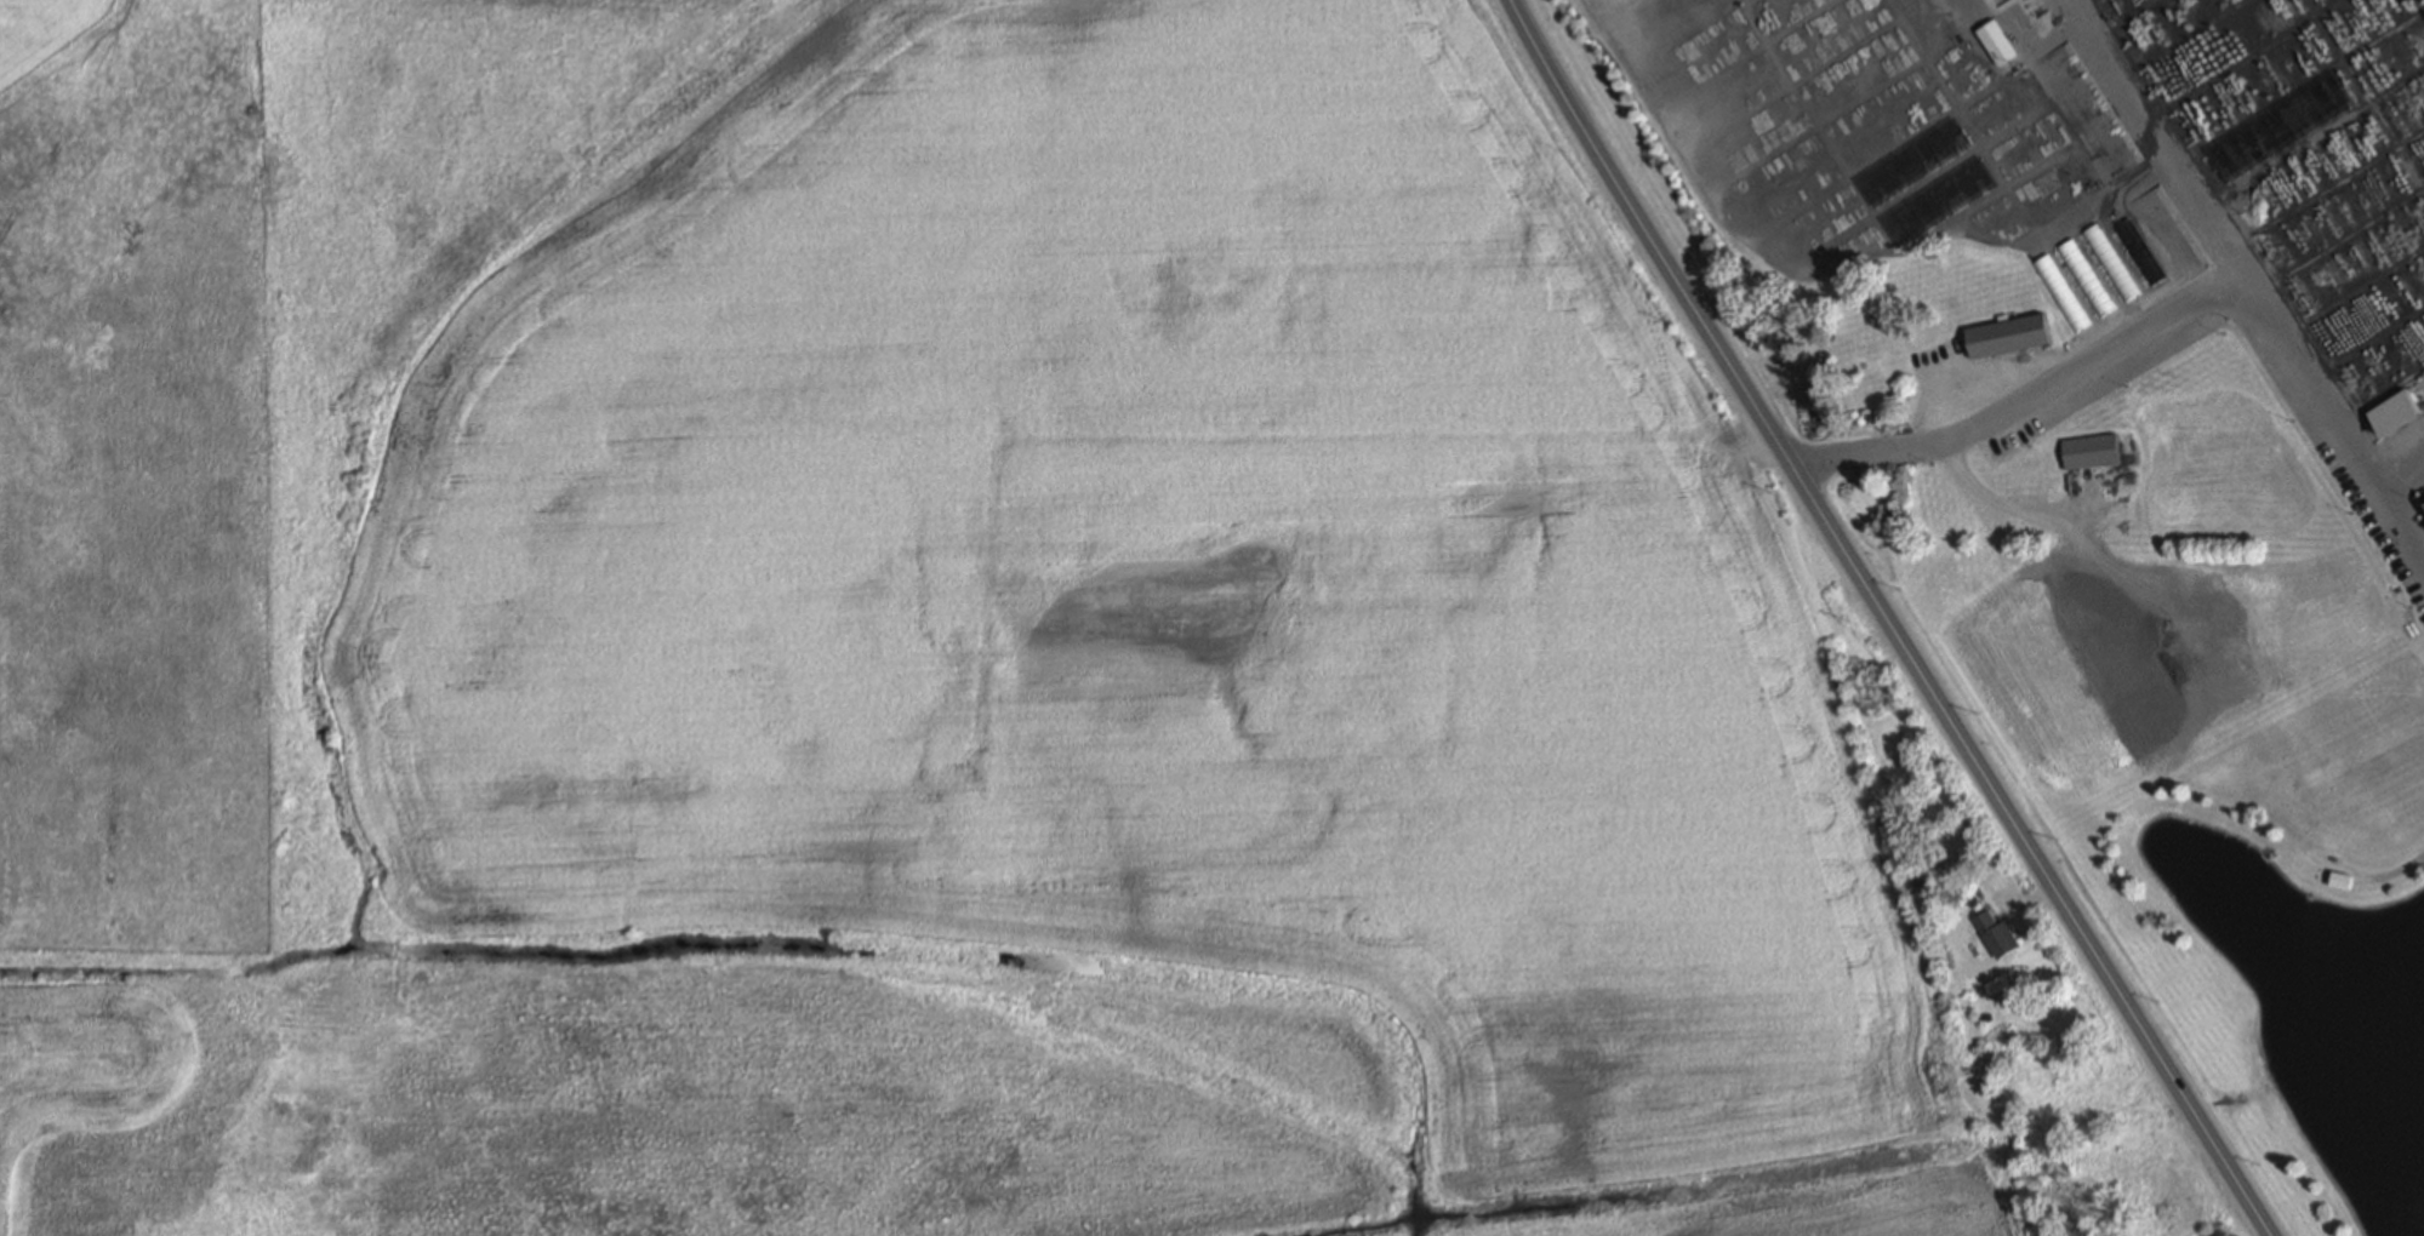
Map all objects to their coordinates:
road: (1590, 12)
road: (2121, 21)
road: (2198, 32)
road: (1681, 34)
road: (2051, 38)
building: (1998, 41)
road: (1740, 55)
road: (2243, 64)
road: (1933, 73)
road: (1786, 85)
road: (1798, 85)
road: (2048, 87)
road: (1998, 90)
road: (2297, 91)
road: (2361, 95)
road: (2012, 120)
road: (1815, 128)
road: (2309, 139)
road: (1847, 173)
road: (2020, 182)
road: (2009, 193)
road: (2322, 193)
road: (2095, 201)
road: (1730, 231)
road: (2214, 244)
road: (2335, 244)
building: (2140, 251)
building: (2111, 261)
building: (2086, 276)
building: (2061, 291)
road: (2348, 294)
building: (2009, 334)
road: (2361, 344)
building: (1855, 349)
road: (2023, 399)
road: (2378, 404)
building: (2396, 412)
building: (2092, 451)
road: (2396, 469)
road: (2075, 507)
road: (2036, 511)
road: (2396, 530)
road: (1888, 619)
road: (2392, 874)
building: (2342, 880)
building: (1996, 933)

